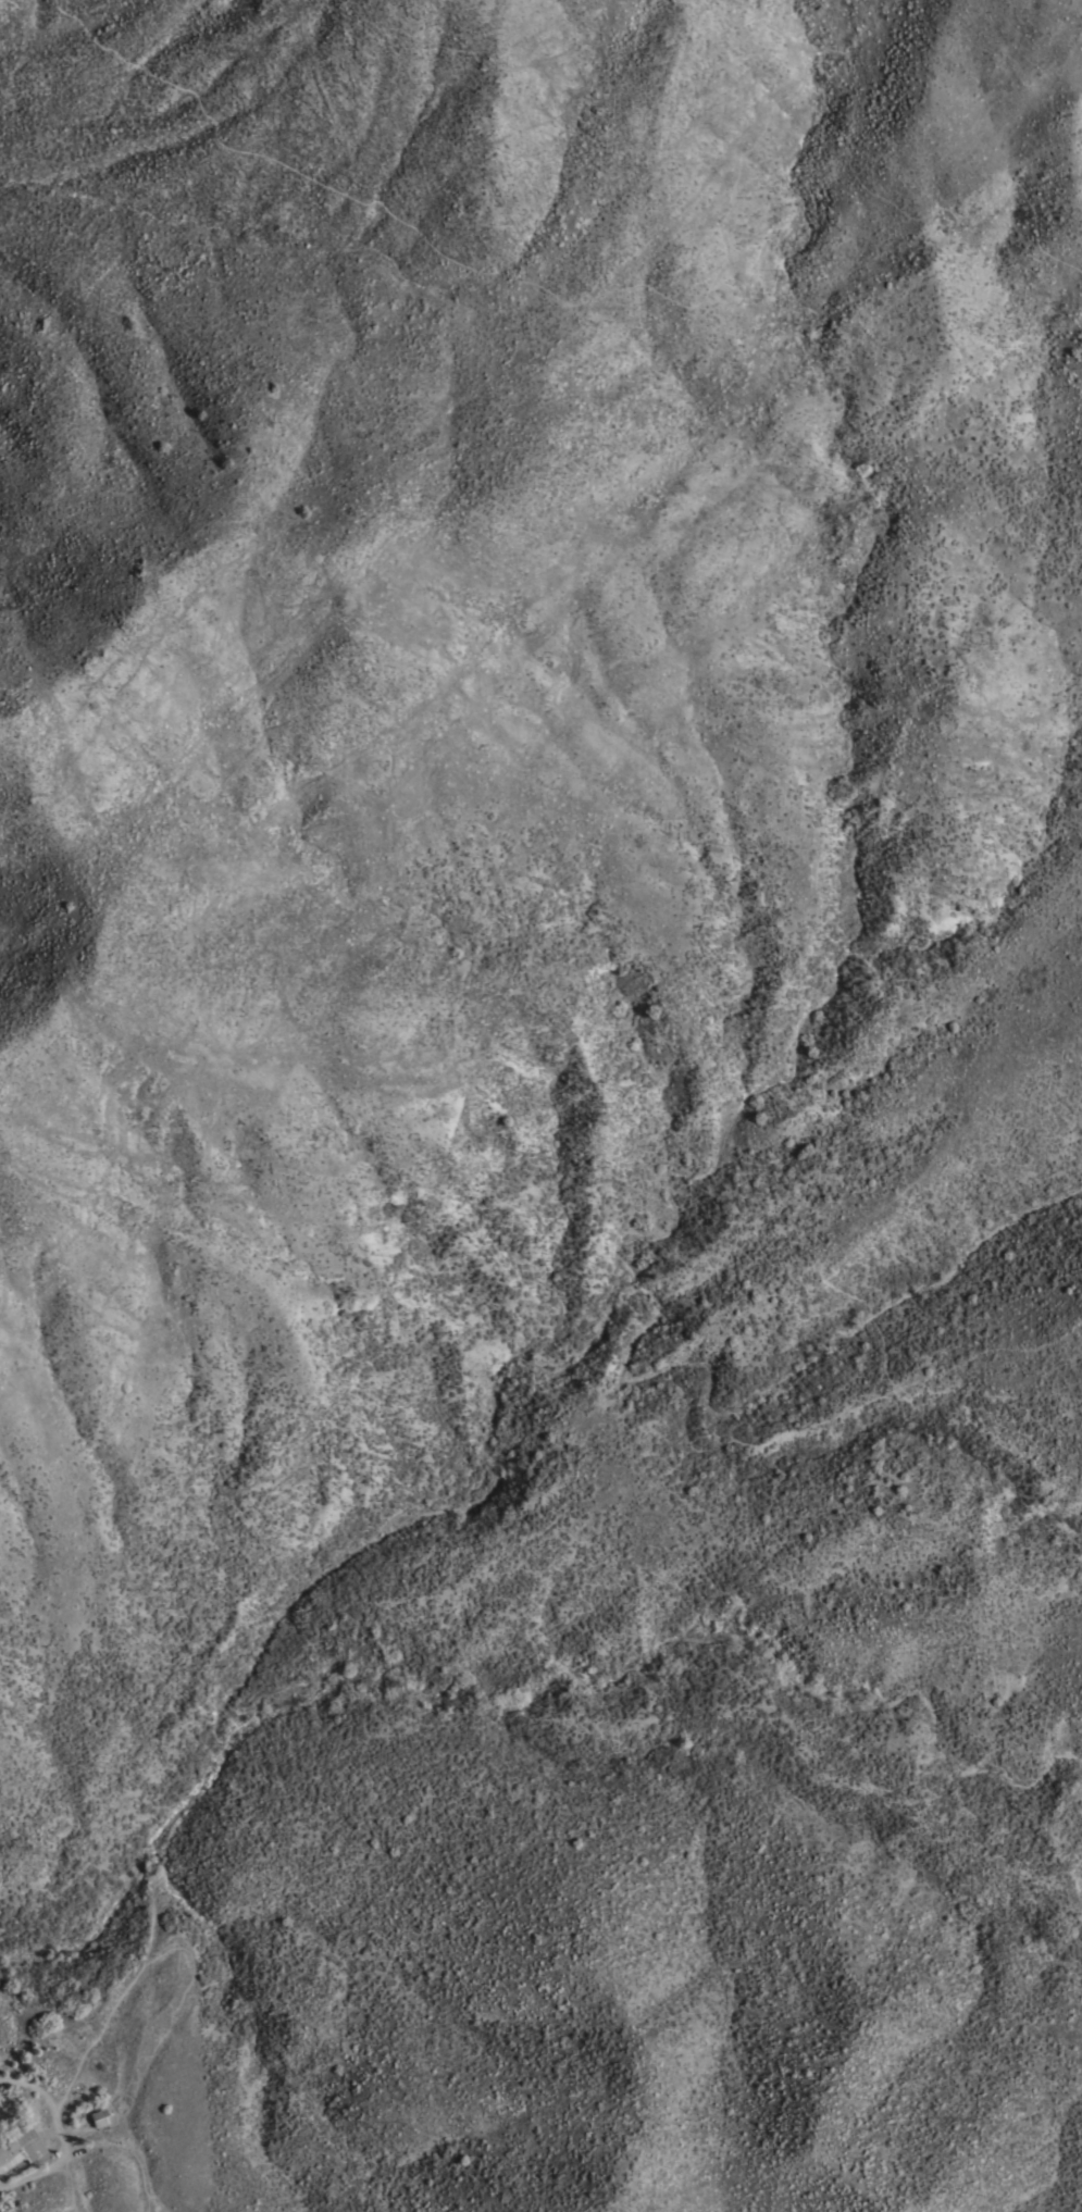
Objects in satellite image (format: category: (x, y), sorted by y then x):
building: (99, 2118)
road: (60, 2133)
building: (18, 2145)

